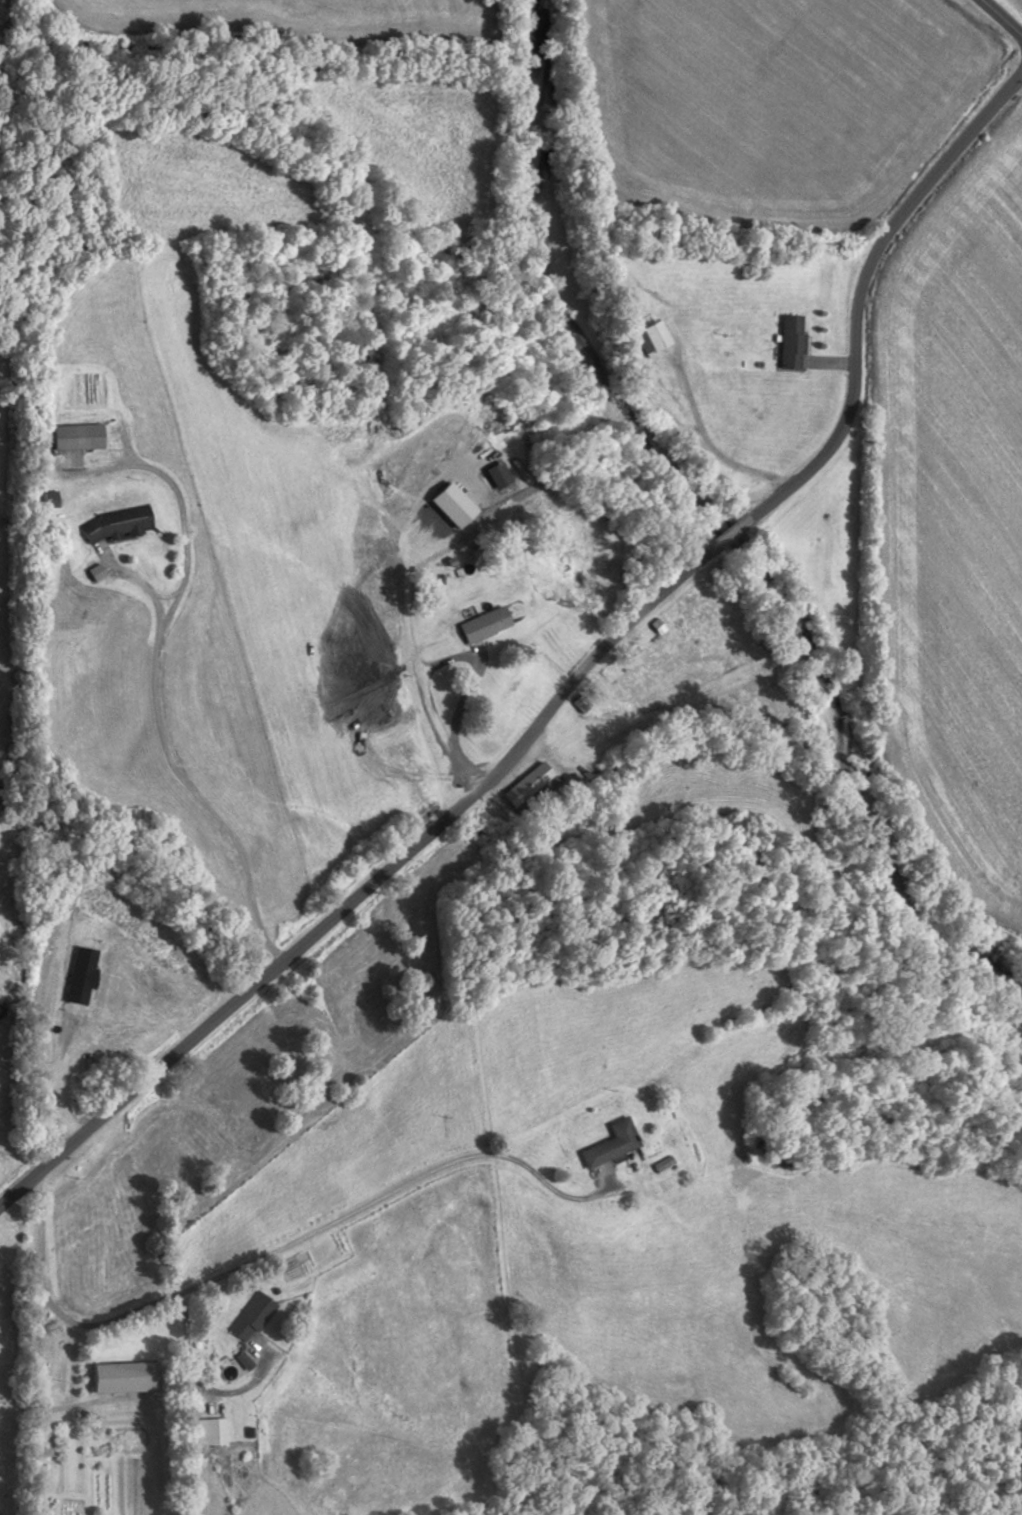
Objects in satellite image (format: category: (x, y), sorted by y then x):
road: (1002, 18)
building: (654, 337)
building: (792, 341)
building: (80, 436)
road: (711, 445)
building: (118, 523)
building: (488, 624)
building: (669, 646)
road: (582, 678)
road: (430, 711)
building: (527, 783)
building: (614, 1143)
building: (253, 1314)
road: (190, 1330)
building: (128, 1376)
building: (213, 1430)
road: (67, 1461)

